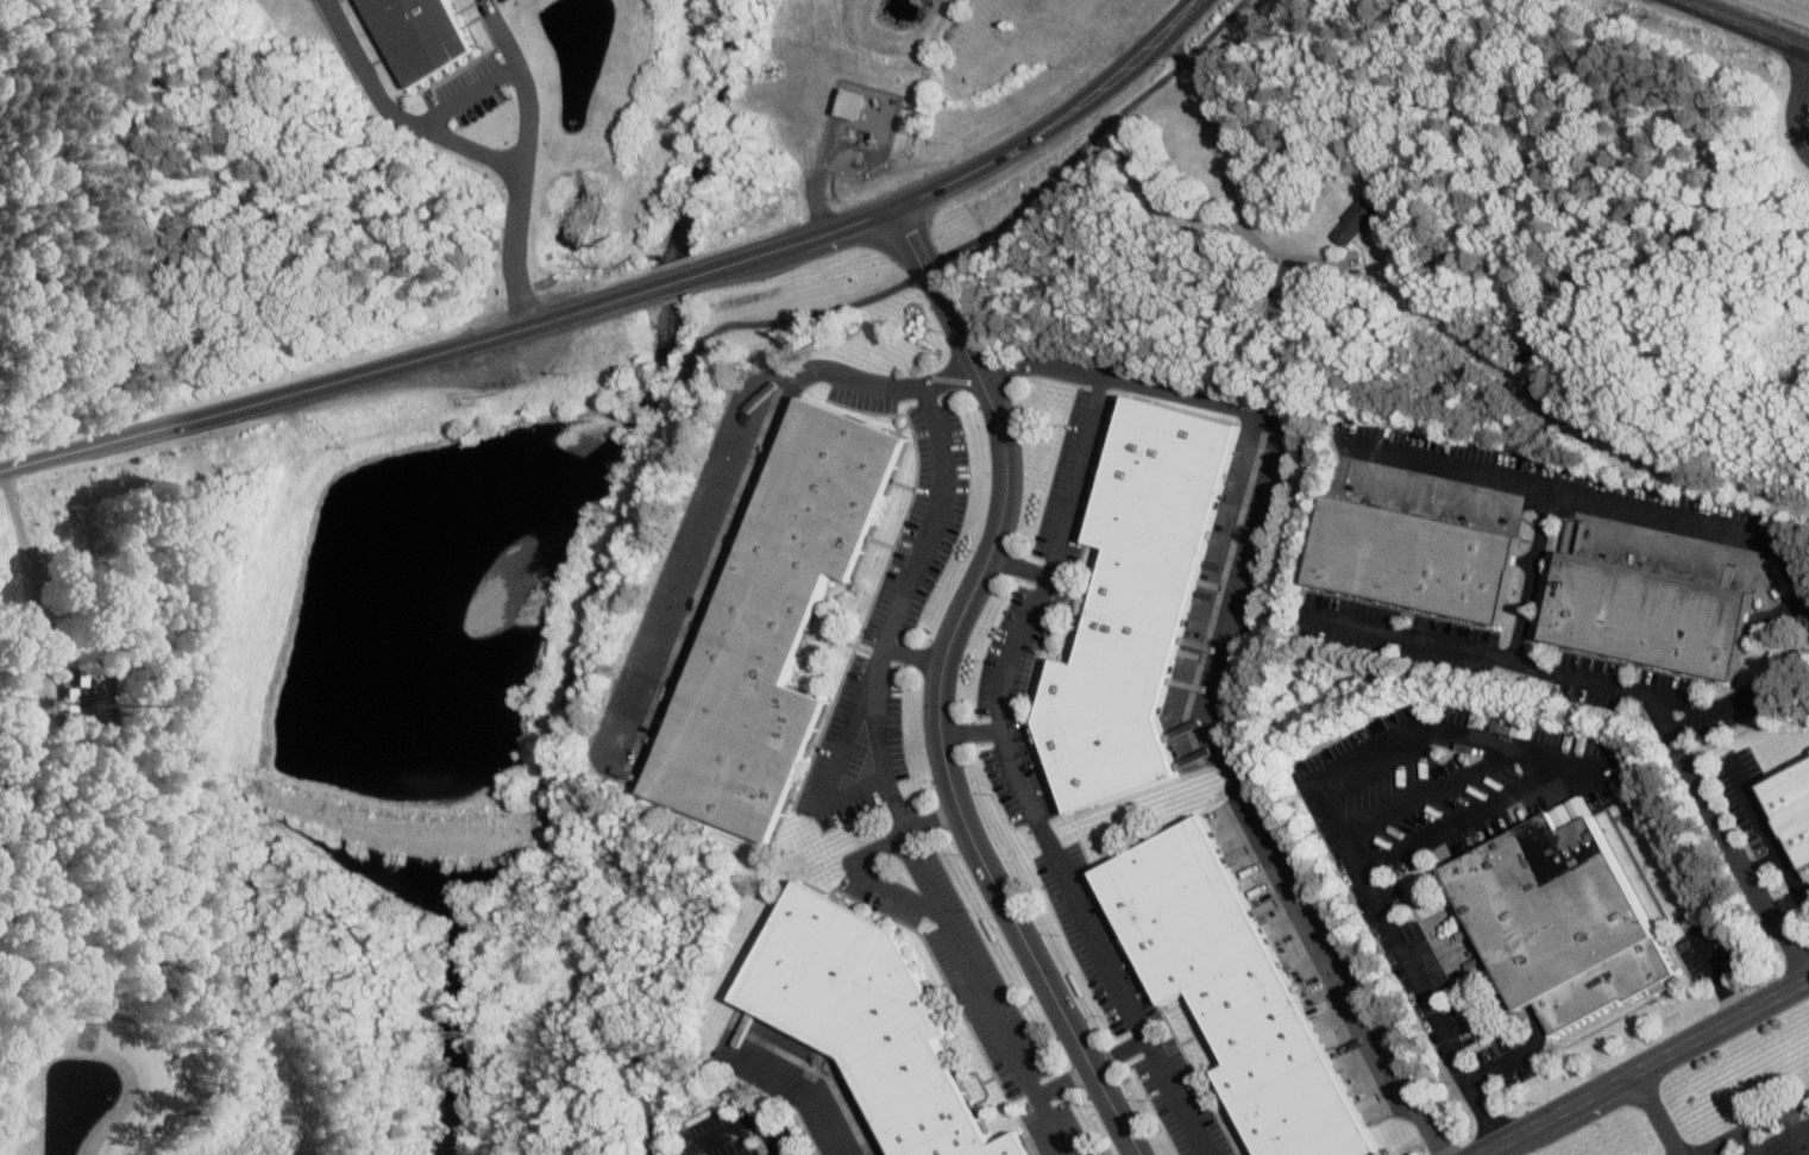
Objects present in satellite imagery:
road: (1771, 14)
road: (1744, 25)
road: (505, 32)
building: (428, 36)
road: (364, 68)
road: (469, 94)
building: (861, 101)
road: (1798, 112)
road: (1095, 133)
road: (471, 144)
road: (972, 171)
road: (1224, 181)
road: (522, 195)
building: (1357, 220)
road: (928, 269)
road: (672, 282)
road: (321, 384)
road: (1093, 412)
road: (715, 490)
road: (1597, 500)
building: (1424, 534)
road: (1527, 575)
building: (1654, 595)
building: (1138, 597)
building: (777, 622)
road: (580, 638)
road: (911, 653)
road: (938, 686)
road: (1639, 690)
road: (1218, 721)
road: (971, 735)
road: (1405, 749)
road: (880, 761)
building: (1795, 799)
road: (1032, 811)
road: (1463, 816)
road: (930, 820)
road: (863, 875)
building: (1560, 927)
building: (1235, 986)
building: (872, 1019)
road: (1641, 1065)
road: (1062, 1080)
road: (1174, 1097)
road: (803, 1100)
road: (1653, 1113)
road: (741, 1123)
road: (1746, 1123)
road: (1795, 1130)
road: (1750, 1140)

